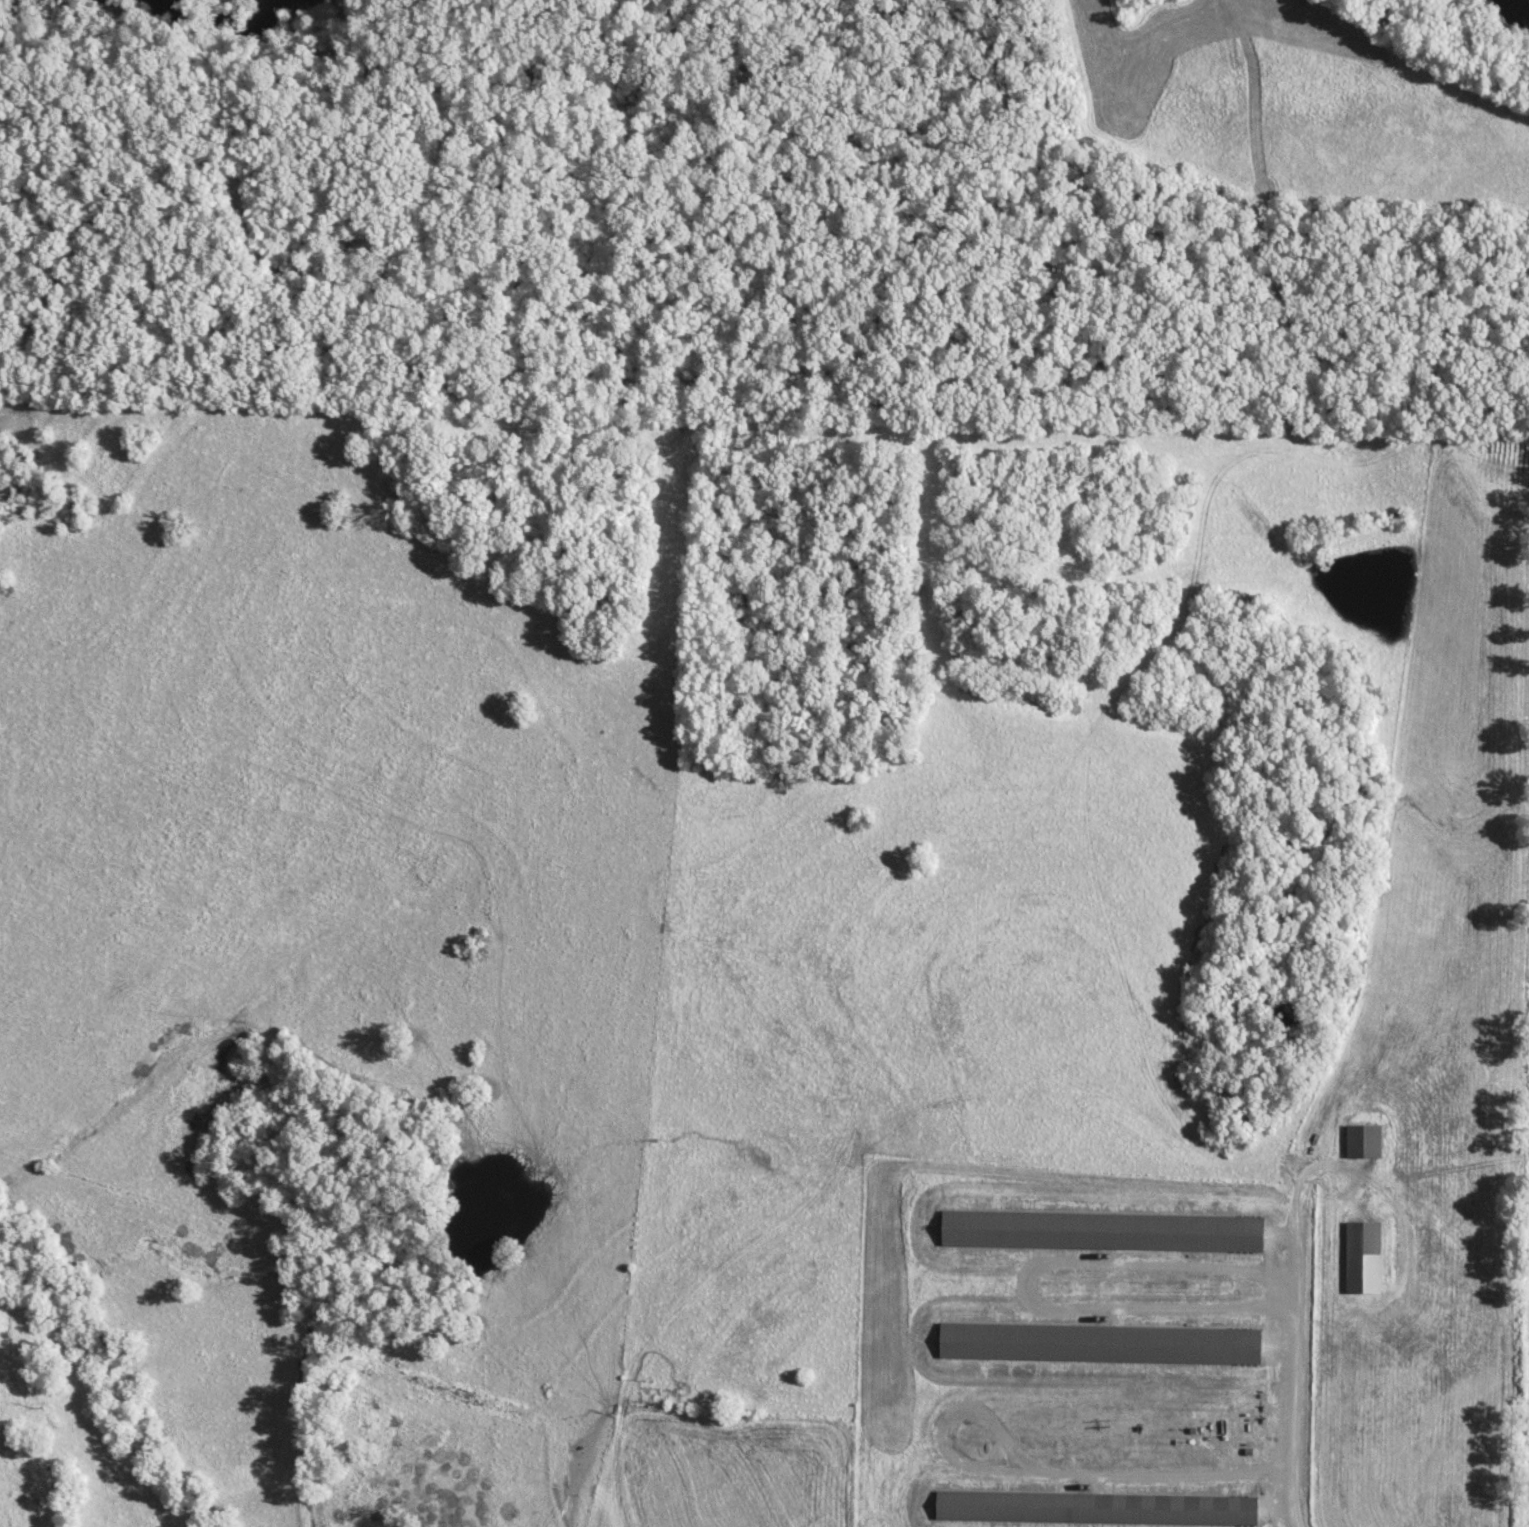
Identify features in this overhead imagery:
road: (489, 1041)
building: (1363, 1140)
building: (1100, 1230)
building: (1362, 1257)
building: (1098, 1342)
road: (1296, 1358)
road: (1074, 1477)
building: (1095, 1507)

